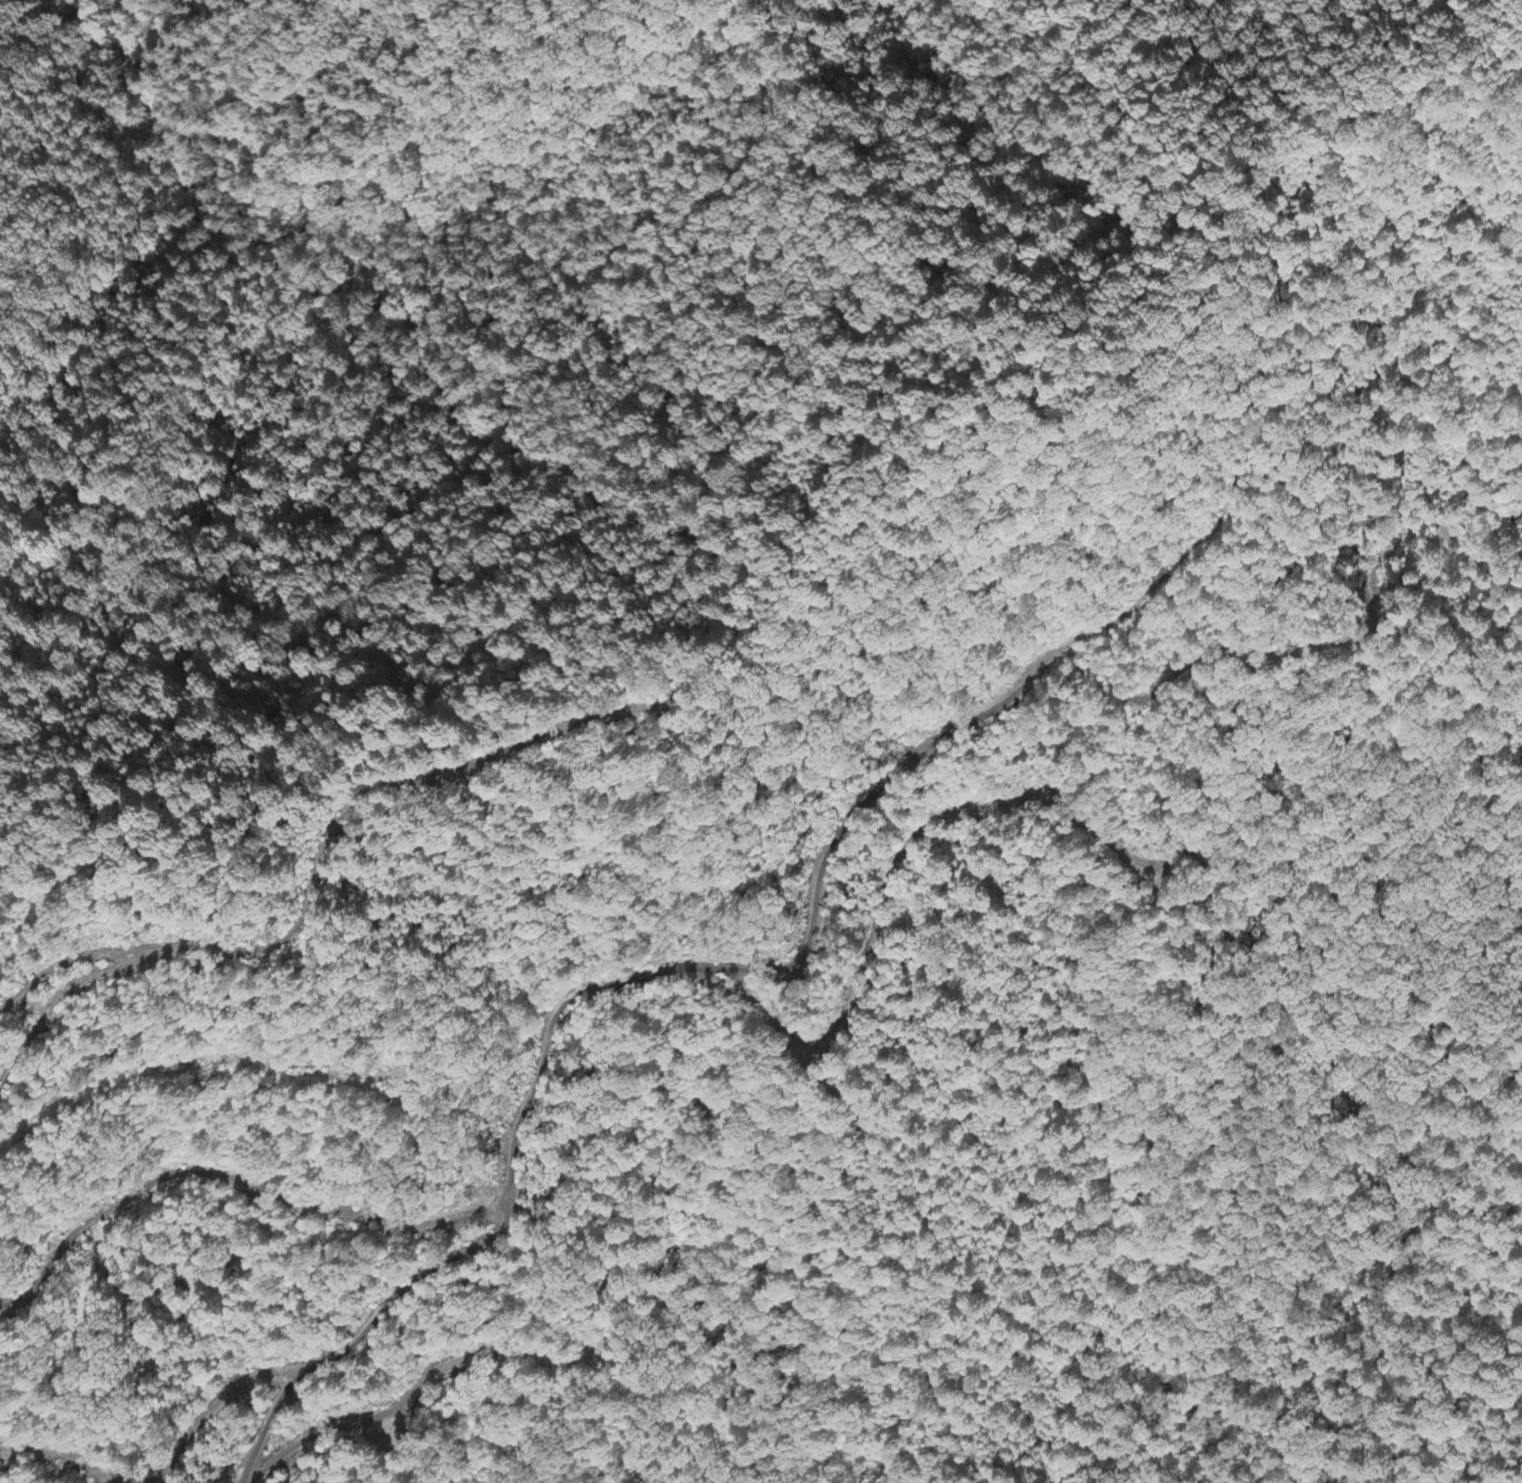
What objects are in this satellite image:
road: (258, 1384)
road: (256, 1433)

